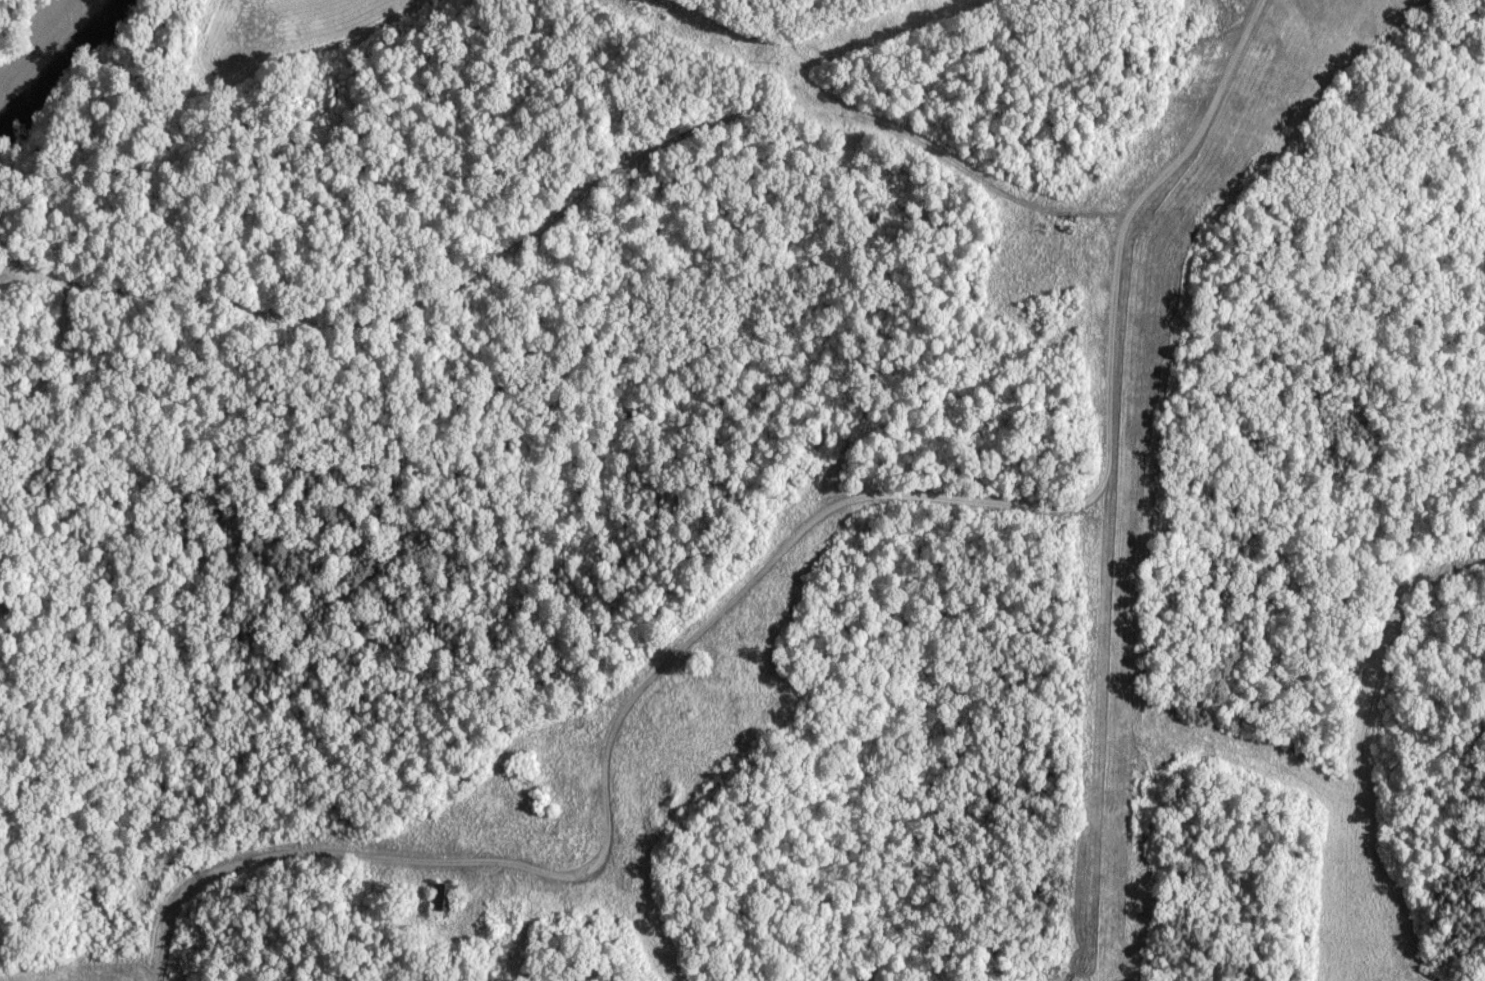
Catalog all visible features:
river: (67, 78)
road: (764, 557)
building: (444, 899)

